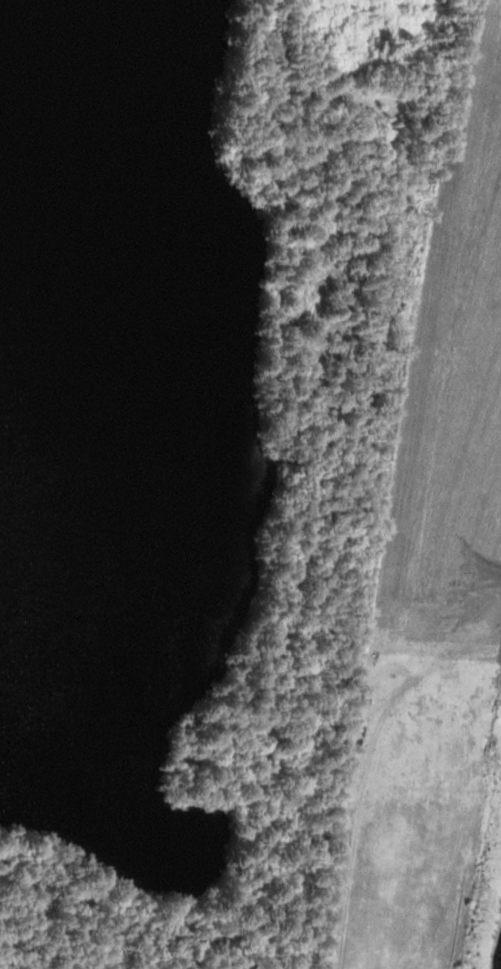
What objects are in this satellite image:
road: (431, 666)
road: (361, 773)

